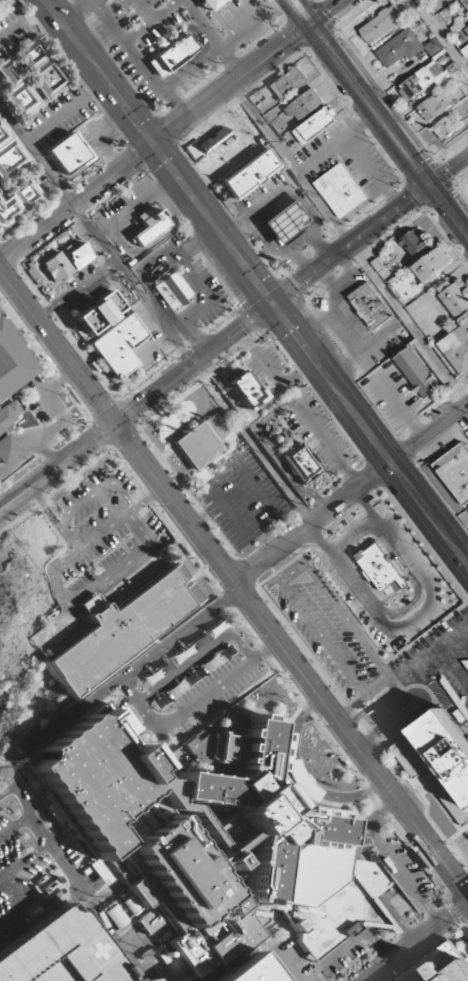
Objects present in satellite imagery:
road: (84, 2)
building: (209, 3)
building: (465, 3)
railway: (295, 7)
road: (76, 10)
road: (142, 11)
road: (306, 13)
road: (292, 15)
road: (151, 21)
building: (381, 24)
road: (25, 25)
road: (243, 27)
building: (466, 29)
road: (176, 33)
road: (440, 36)
road: (211, 38)
building: (433, 47)
building: (399, 49)
building: (465, 53)
building: (174, 54)
road: (137, 61)
road: (190, 68)
building: (38, 69)
building: (290, 84)
building: (17, 90)
building: (304, 106)
road: (388, 106)
road: (367, 107)
building: (433, 107)
road: (66, 111)
railway: (377, 118)
building: (315, 126)
building: (448, 127)
road: (172, 129)
building: (214, 141)
traffic signals: (152, 144)
road: (36, 154)
building: (66, 154)
building: (9, 155)
road: (447, 171)
building: (247, 174)
building: (341, 191)
building: (17, 201)
road: (448, 213)
building: (286, 221)
building: (149, 226)
road: (349, 242)
building: (413, 243)
building: (65, 263)
building: (432, 265)
road: (255, 283)
road: (267, 286)
building: (168, 289)
building: (454, 297)
building: (327, 304)
road: (271, 305)
traffic signals: (272, 305)
building: (370, 306)
road: (288, 313)
building: (98, 314)
building: (117, 346)
road: (57, 348)
building: (457, 349)
road: (192, 364)
railway: (53, 366)
building: (10, 367)
building: (416, 373)
building: (261, 376)
building: (244, 390)
traffic signals: (115, 425)
building: (1, 431)
building: (200, 443)
road: (63, 461)
building: (298, 464)
building: (455, 472)
road: (350, 494)
road: (6, 498)
road: (6, 501)
road: (174, 503)
road: (8, 509)
building: (381, 571)
road: (236, 586)
railway: (234, 601)
parking lot: (377, 605)
building: (109, 634)
road: (140, 705)
road: (298, 725)
road: (353, 742)
building: (439, 761)
power tower: (0, 764)
railway: (356, 770)
road: (300, 779)
road: (351, 798)
road: (368, 824)
building: (212, 842)
parking lot: (23, 857)
road: (366, 874)
road: (403, 874)
road: (379, 895)
road: (376, 904)
road: (367, 916)
building: (114, 917)
road: (397, 922)
road: (367, 927)
road: (416, 942)
road: (380, 946)
power tower: (139, 950)
building: (58, 952)
parking garage: (58, 952)
helipad: (86, 952)
road: (335, 955)
building: (440, 965)
building: (243, 971)

